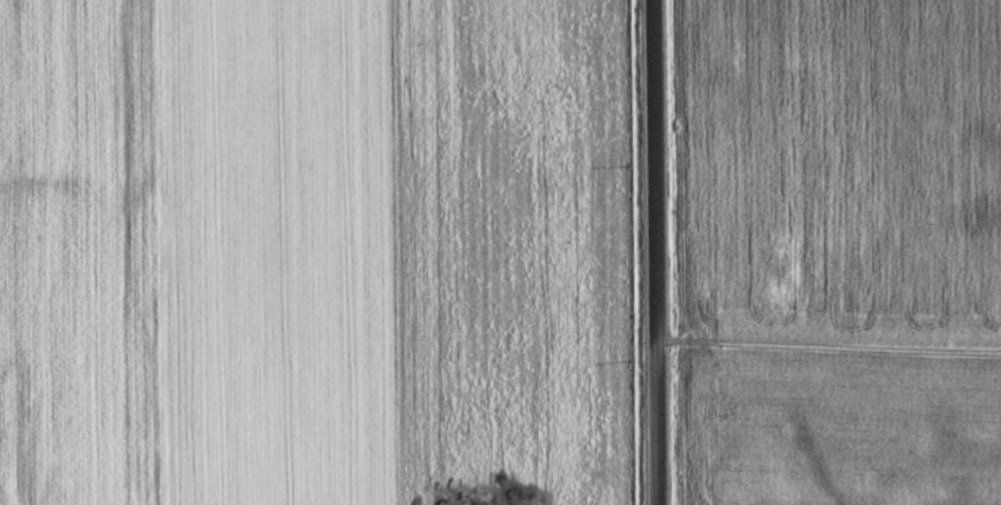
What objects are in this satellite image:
road: (657, 252)

